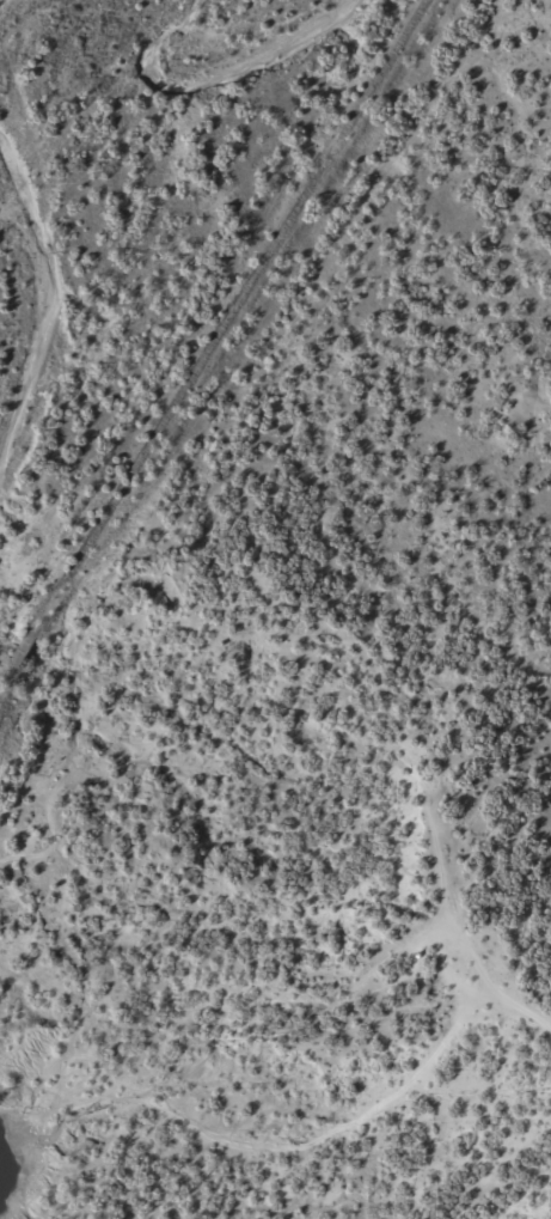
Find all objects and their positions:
railway: (373, 74)
railway: (161, 413)

